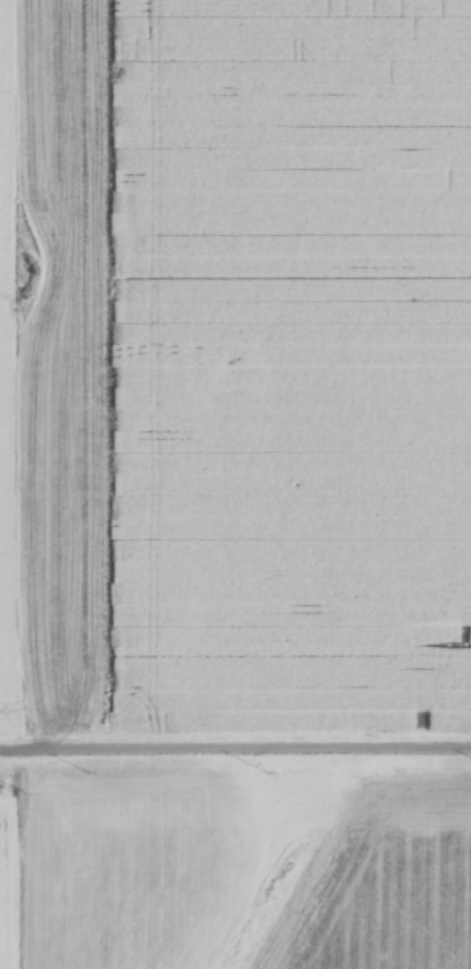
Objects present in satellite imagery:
power tower: (20, 305)
road: (235, 745)
power tower: (20, 796)

